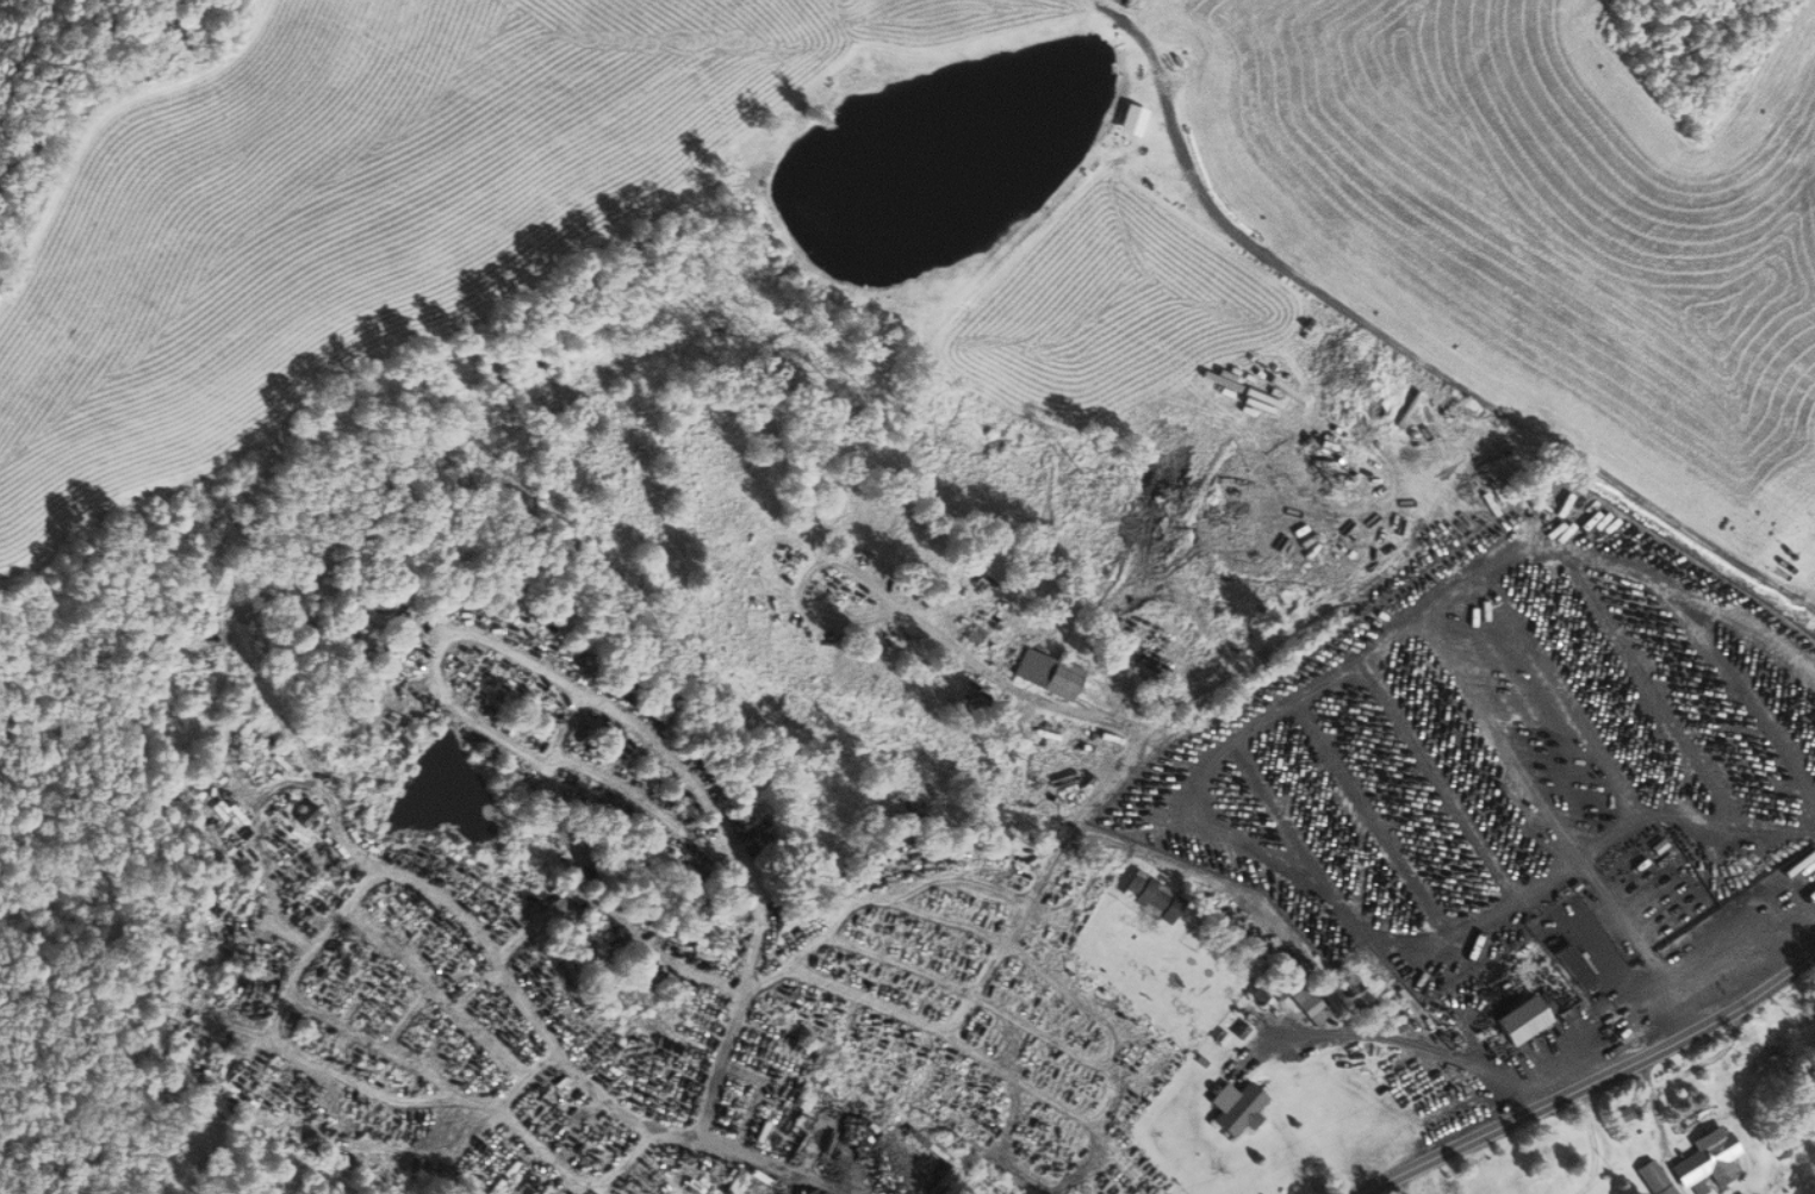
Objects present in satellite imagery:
building: (1131, 119)
building: (1048, 673)
building: (305, 814)
building: (1151, 896)
building: (1349, 987)
road: (524, 1007)
building: (1523, 1019)
road: (1590, 1078)
building: (1241, 1111)
building: (1707, 1162)
building: (1652, 1179)

